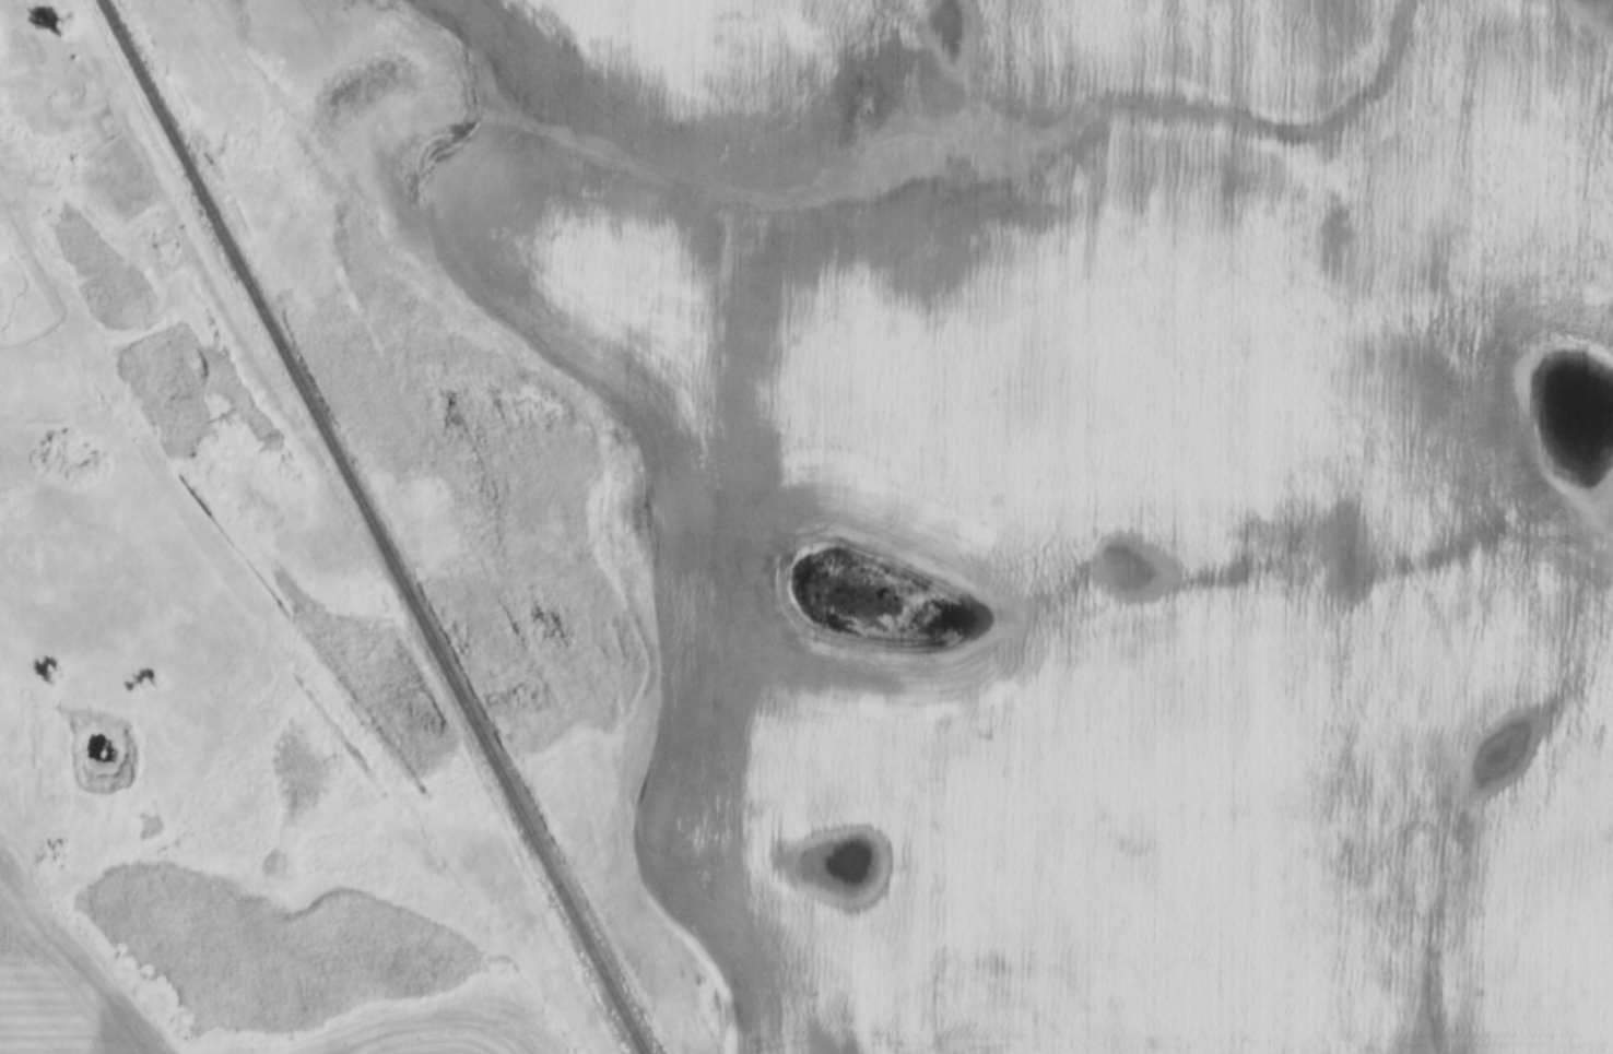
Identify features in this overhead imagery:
railway: (231, 320)
railway: (374, 526)

